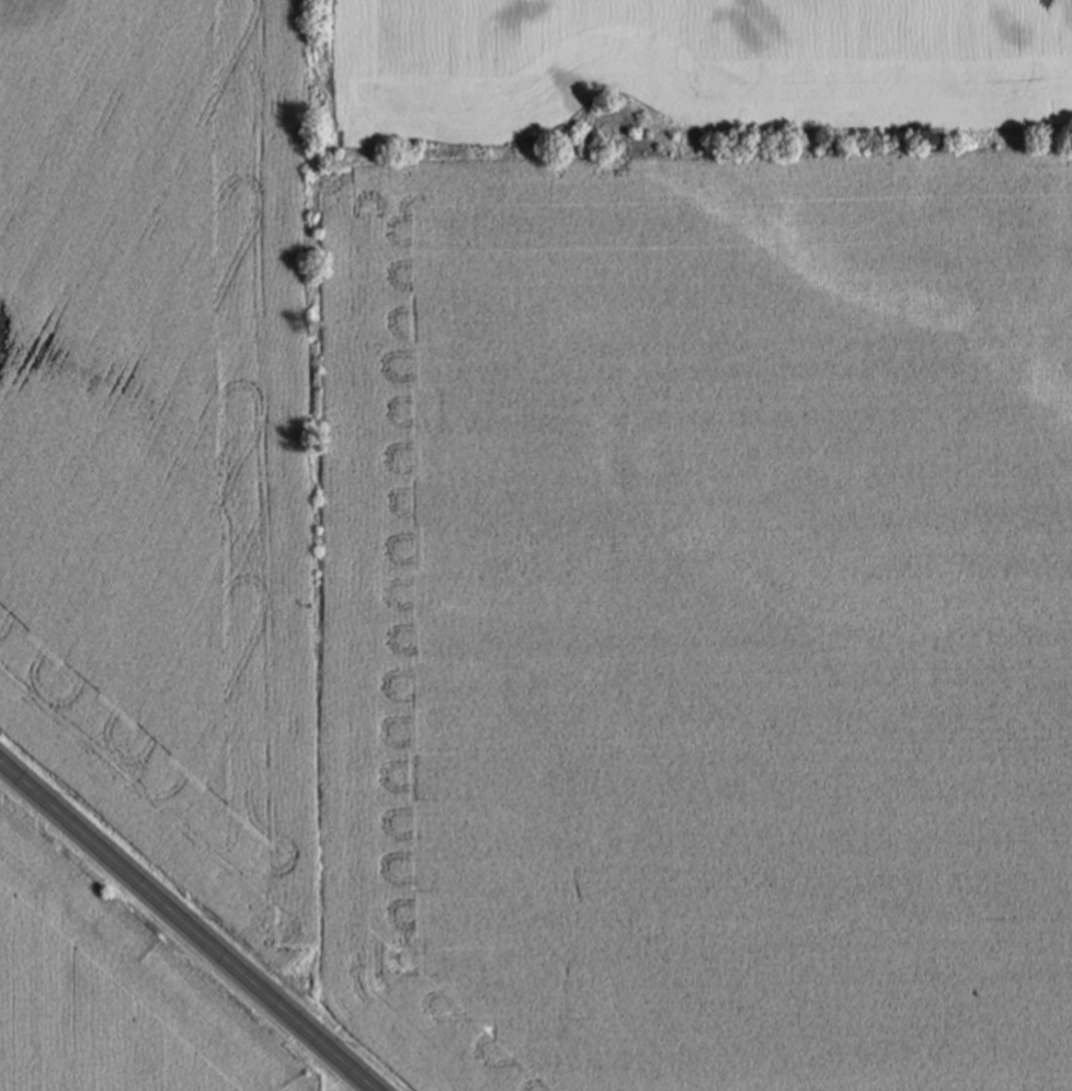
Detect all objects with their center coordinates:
road: (174, 936)

